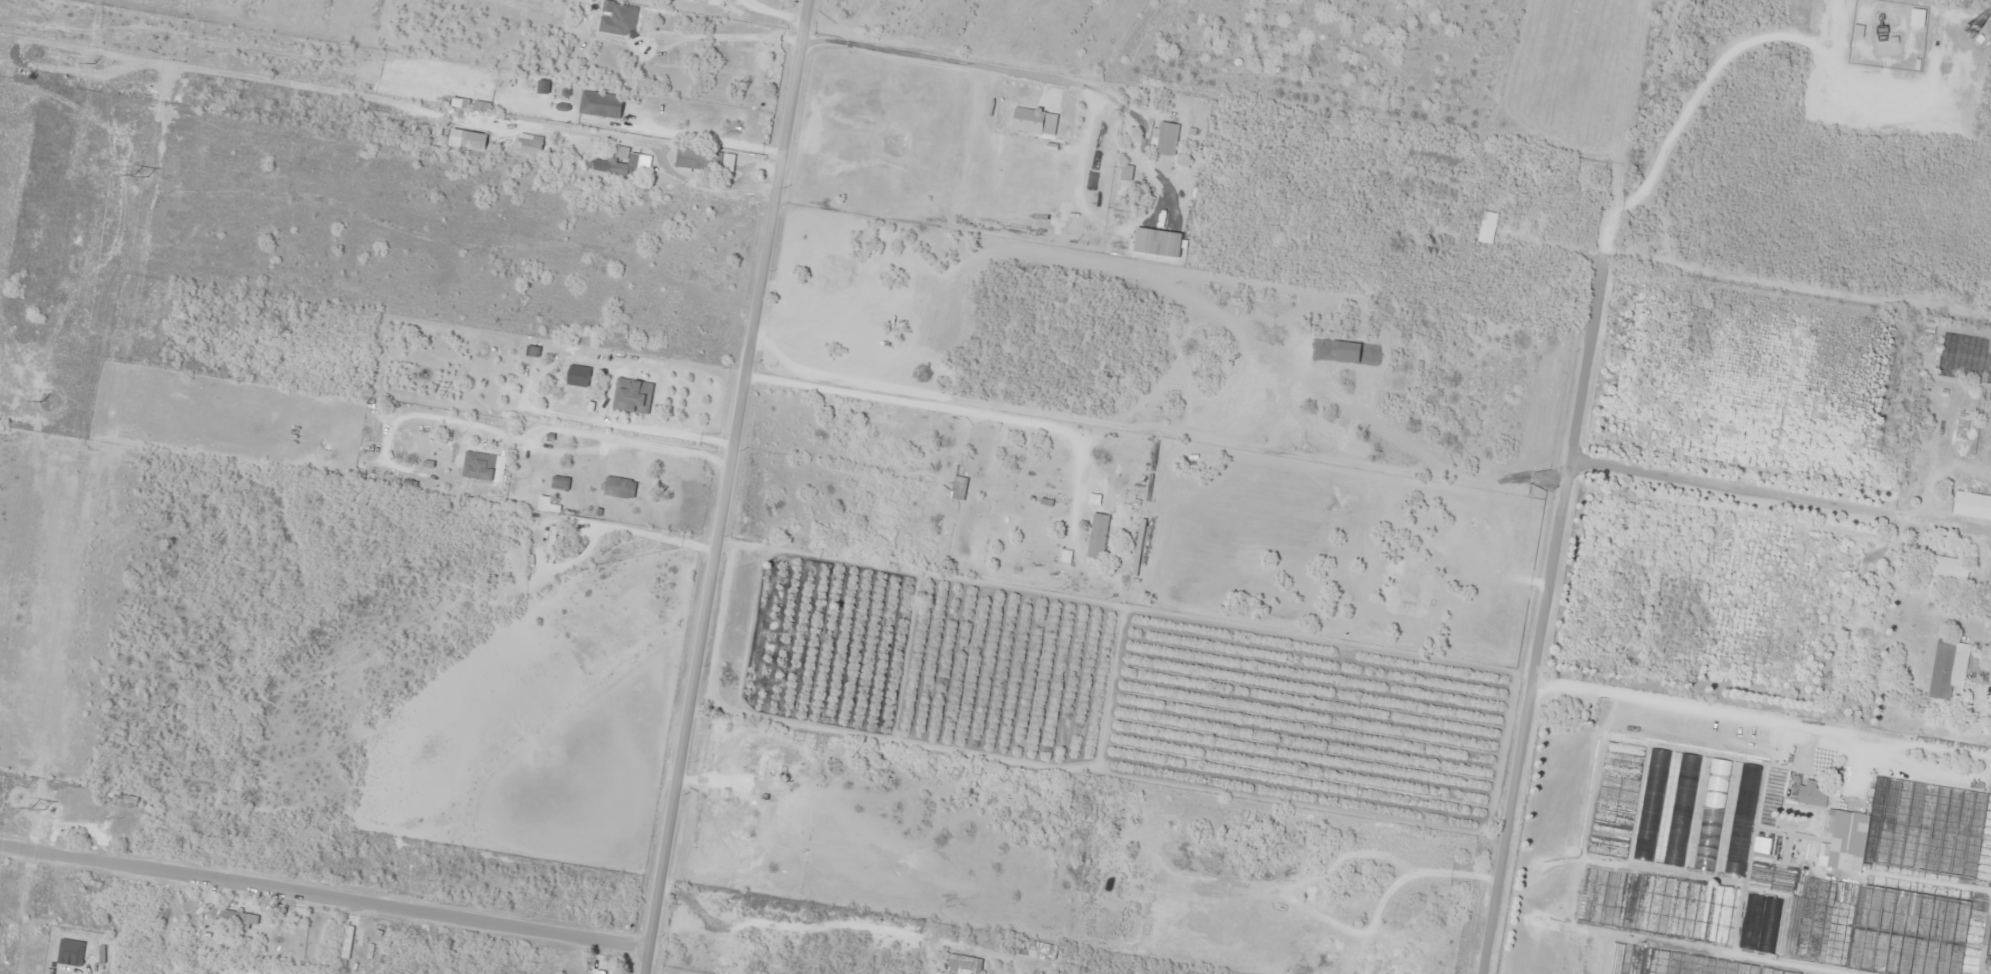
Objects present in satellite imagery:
building: (1917, 17)
building: (619, 21)
building: (1887, 44)
building: (757, 65)
building: (601, 104)
building: (1164, 139)
building: (530, 147)
building: (1438, 155)
building: (704, 160)
building: (621, 163)
power tower: (140, 176)
building: (1487, 227)
building: (578, 376)
building: (632, 396)
building: (469, 458)
building: (560, 483)
road: (730, 486)
building: (618, 488)
building: (959, 488)
building: (1972, 505)
road: (1510, 518)
building: (1097, 536)
building: (1944, 570)
building: (1948, 668)
road: (439, 752)
building: (772, 766)
building: (7, 785)
building: (1811, 793)
building: (1651, 804)
power tower: (37, 806)
building: (1681, 809)
building: (1711, 814)
building: (99, 818)
building: (1741, 819)
building: (1911, 829)
building: (1764, 845)
road: (327, 895)
building: (233, 918)
building: (1760, 923)
building: (1907, 933)
building: (1988, 942)
building: (346, 947)
building: (1041, 951)
building: (964, 965)
building: (597, 972)

